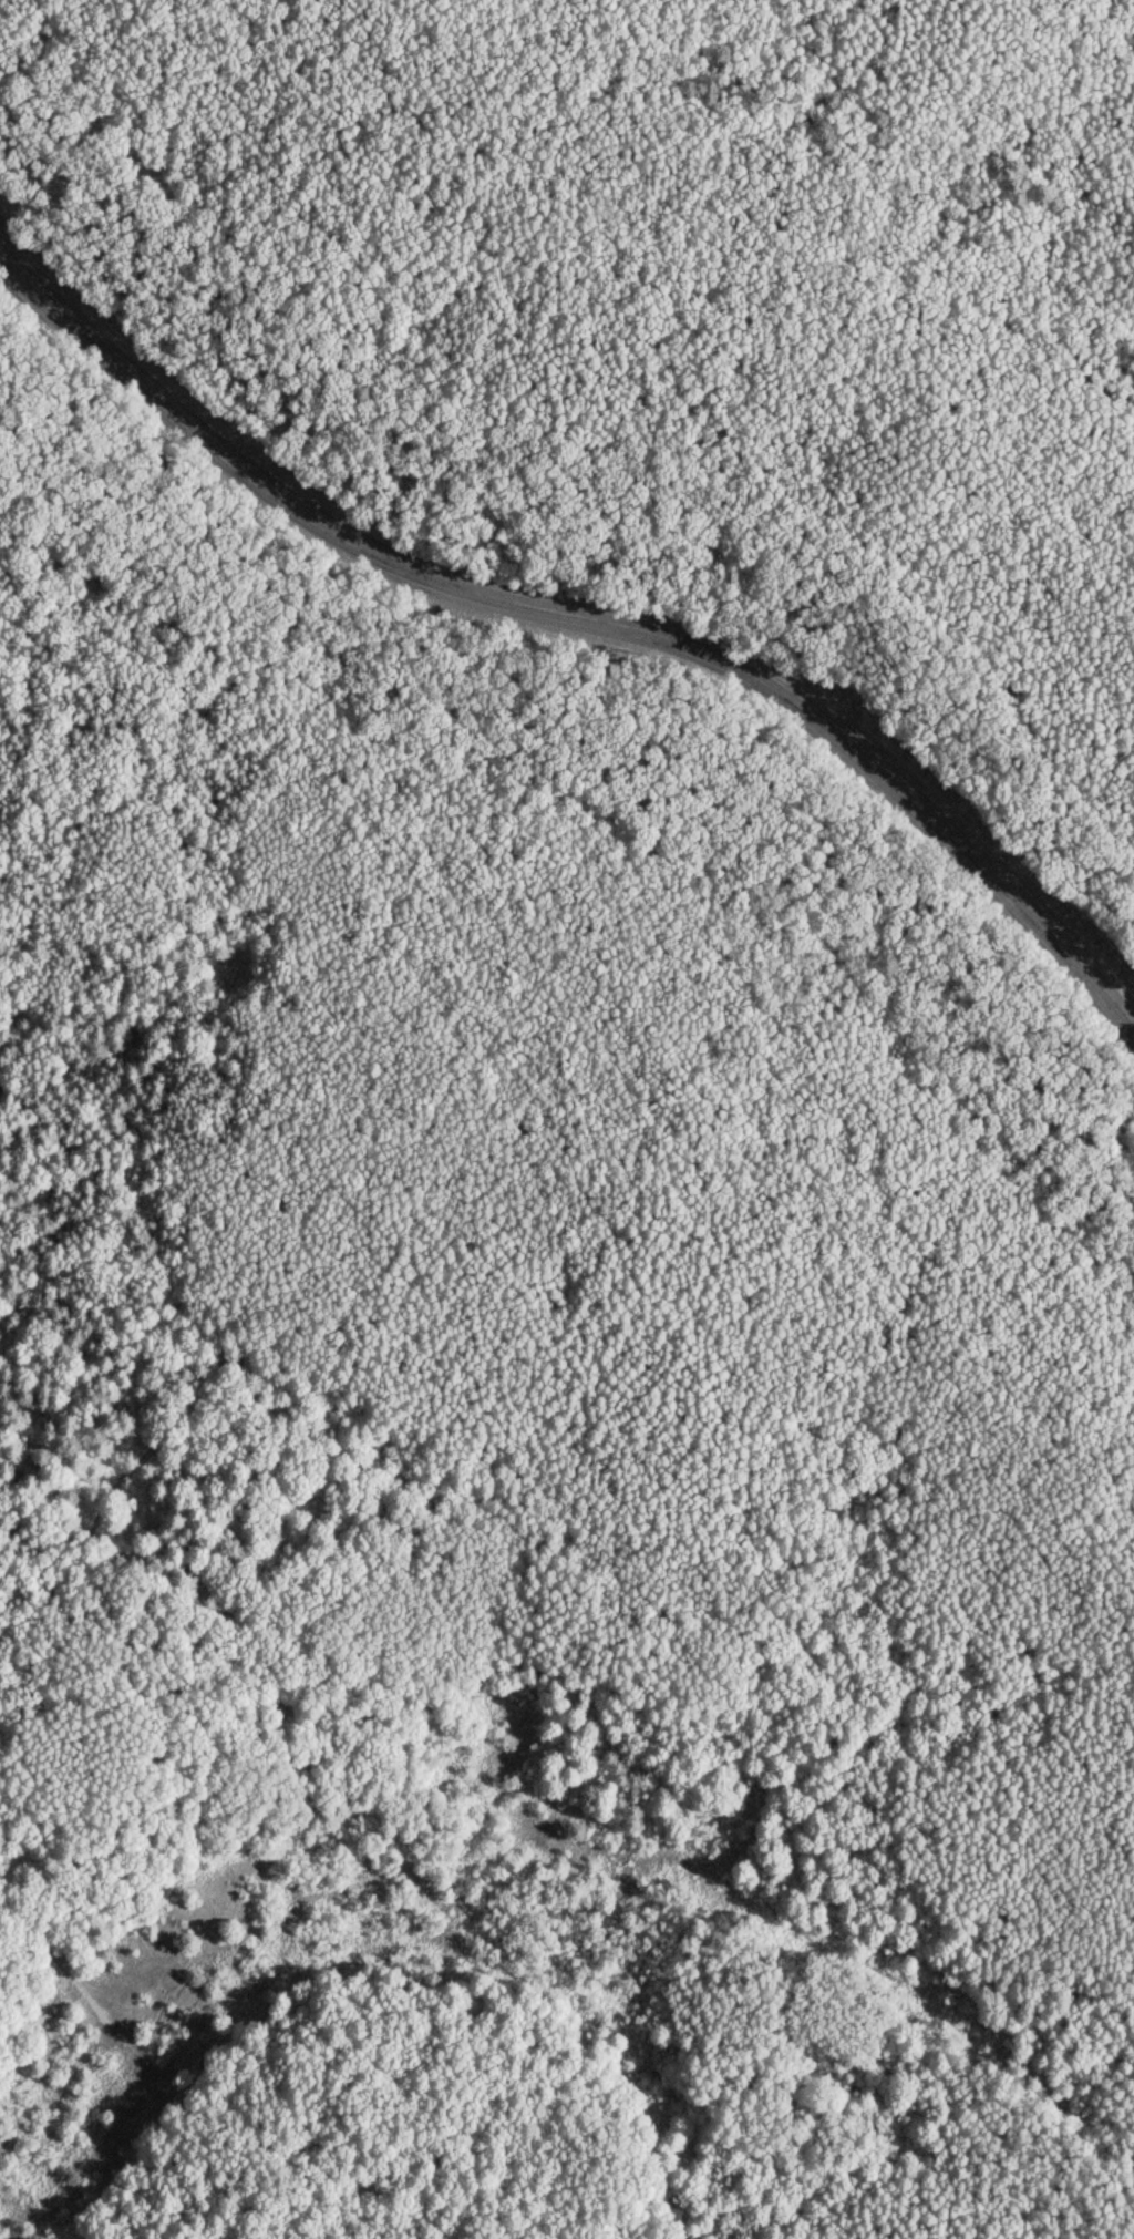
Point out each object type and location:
road: (589, 617)
road: (100, 2009)

